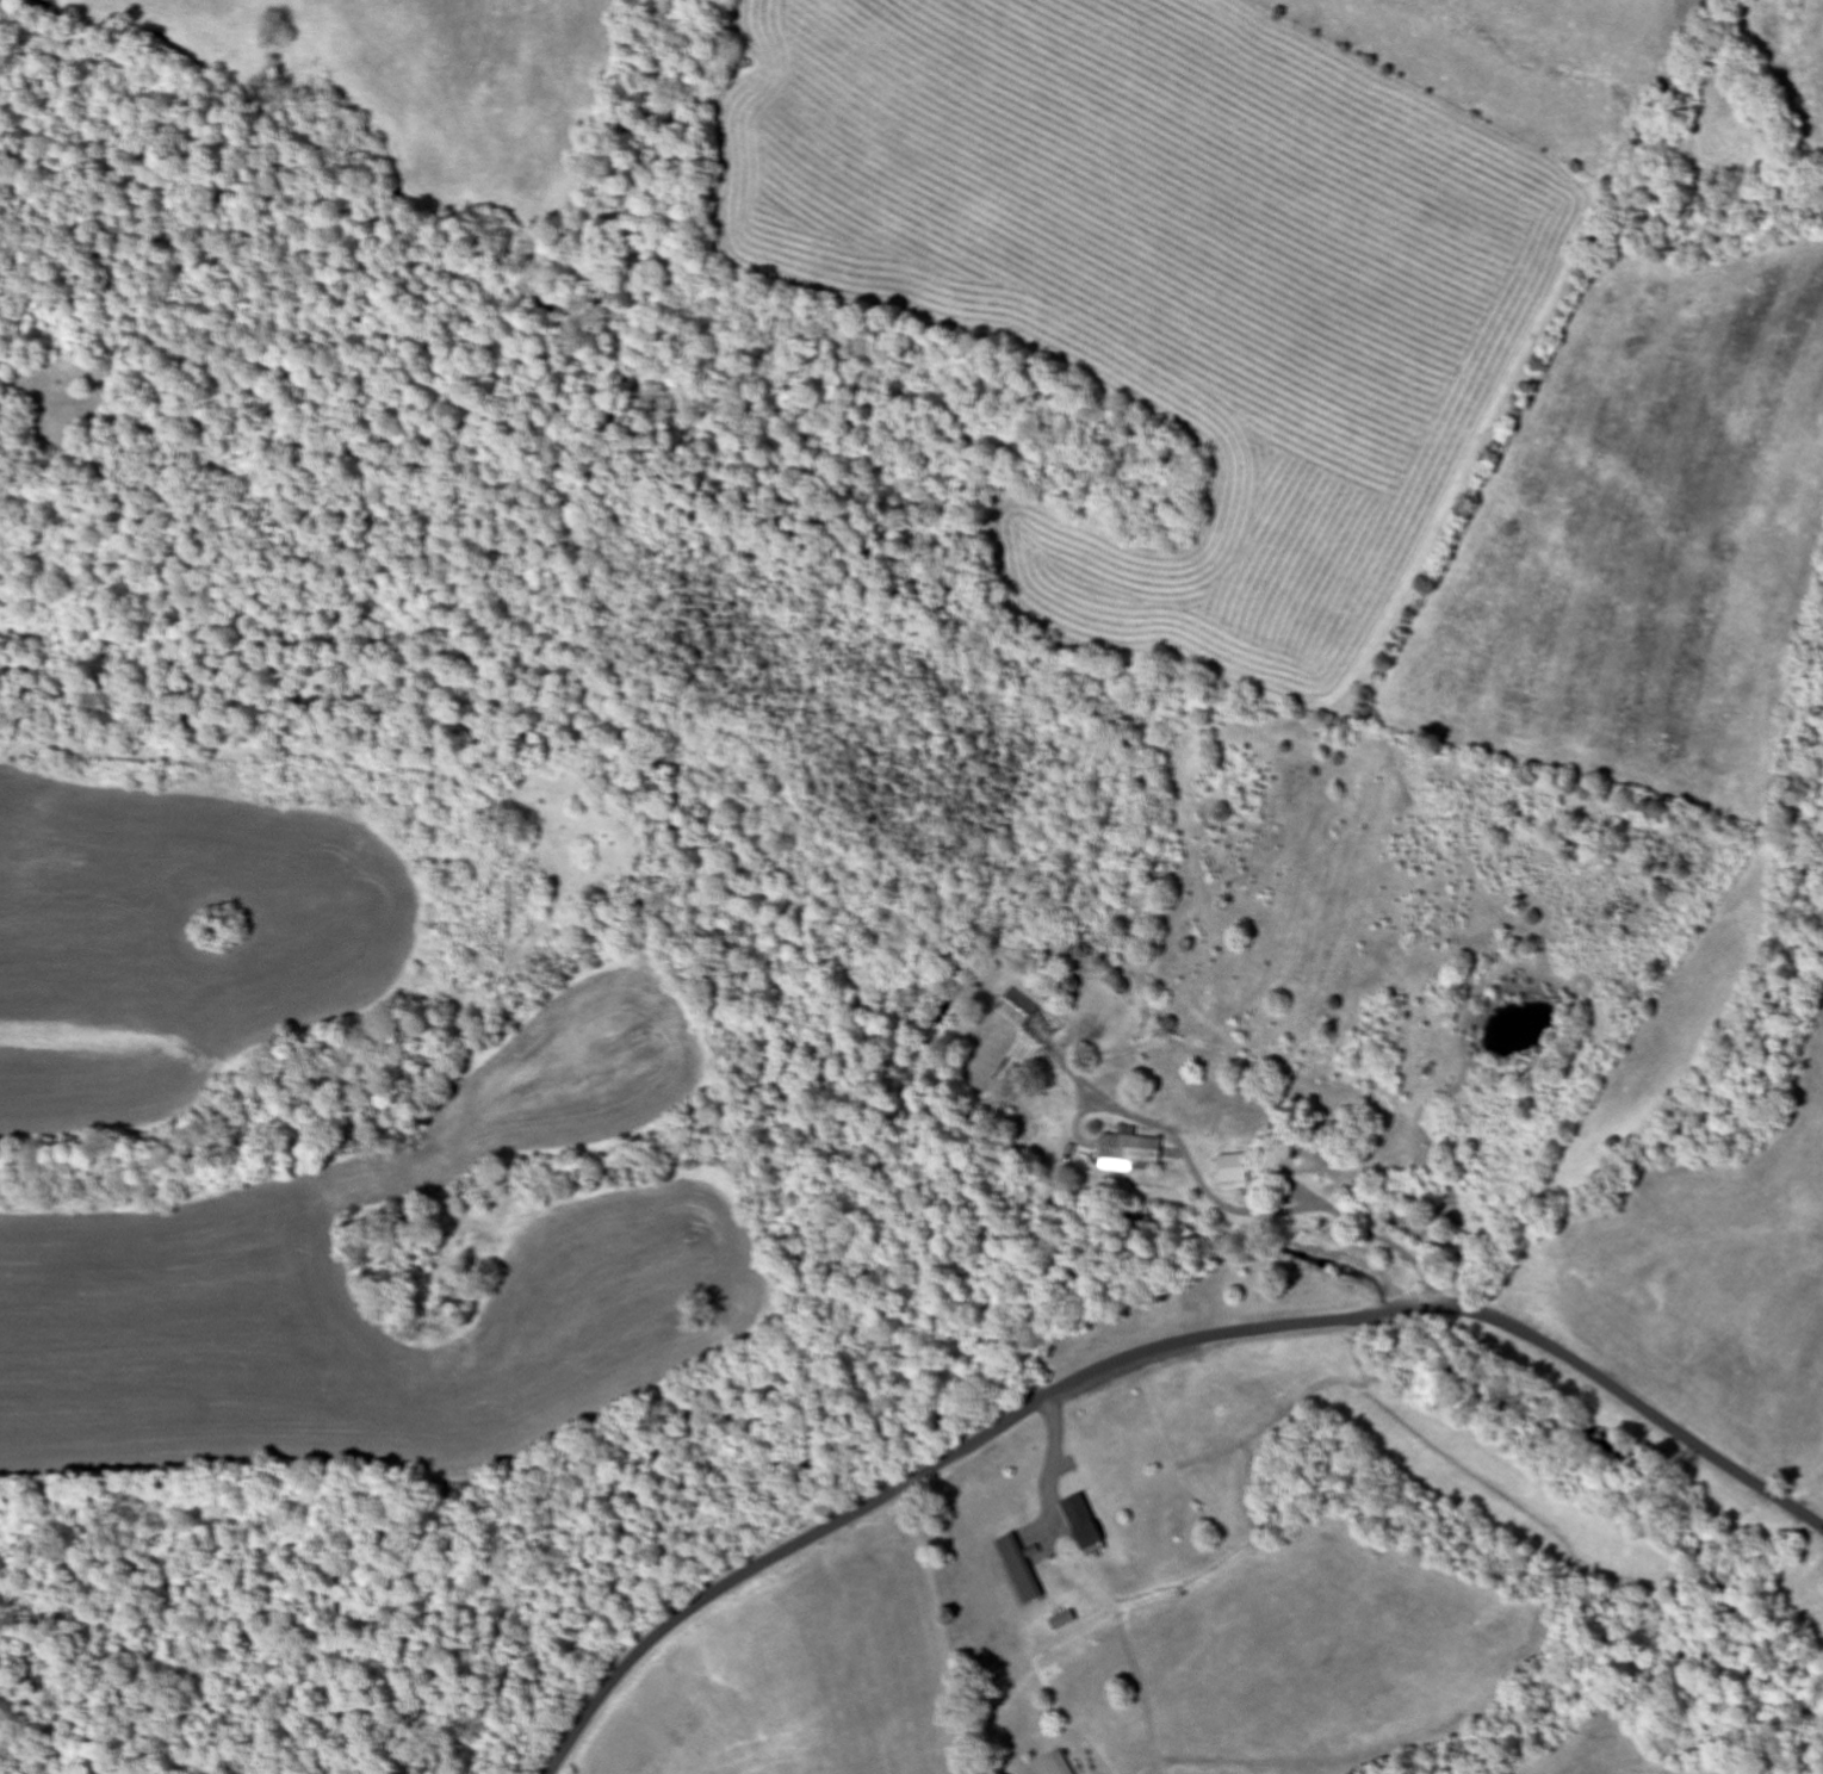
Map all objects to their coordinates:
building: (1129, 1149)
building: (1234, 1168)
road: (1149, 1351)
building: (1084, 1522)
building: (1018, 1570)
building: (1058, 1763)

